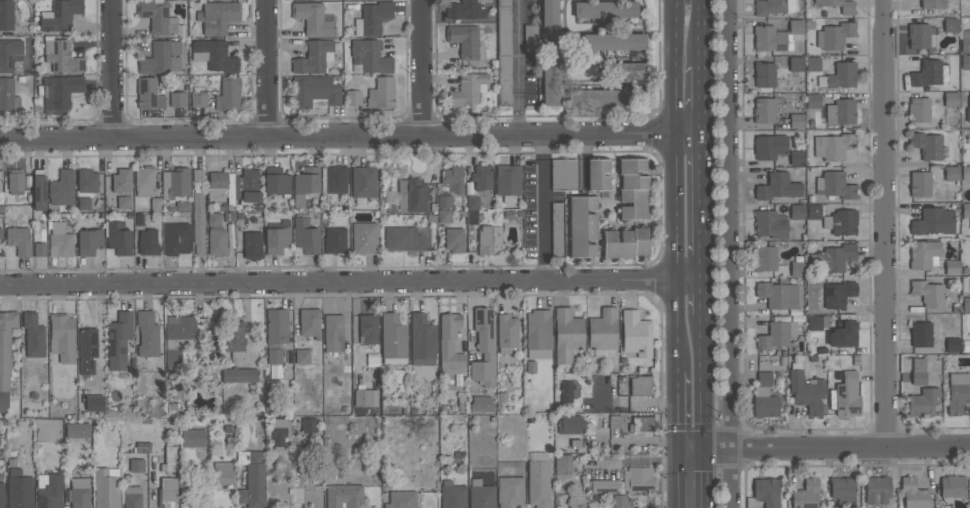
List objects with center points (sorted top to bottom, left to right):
building: (933, 4)
building: (839, 5)
building: (773, 6)
building: (466, 9)
building: (605, 9)
building: (6, 15)
building: (60, 15)
building: (158, 17)
building: (218, 17)
building: (372, 18)
building: (314, 19)
building: (951, 24)
building: (550, 25)
road: (702, 33)
building: (834, 35)
building: (778, 36)
building: (921, 36)
building: (530, 38)
building: (465, 40)
building: (614, 41)
building: (965, 41)
building: (504, 52)
building: (10, 54)
building: (61, 55)
building: (214, 55)
building: (369, 56)
building: (161, 57)
building: (314, 57)
building: (965, 61)
building: (796, 63)
building: (813, 63)
road: (421, 66)
road: (518, 66)
road: (265, 67)
road: (108, 68)
building: (630, 70)
building: (927, 73)
building: (764, 74)
building: (842, 74)
building: (550, 81)
building: (468, 89)
building: (60, 90)
building: (315, 92)
building: (148, 93)
building: (382, 93)
building: (8, 94)
building: (228, 94)
building: (352, 97)
building: (598, 97)
building: (178, 99)
building: (199, 99)
road: (702, 99)
building: (951, 99)
building: (813, 100)
building: (968, 109)
building: (764, 110)
building: (919, 110)
building: (841, 111)
building: (796, 121)
road: (350, 133)
building: (927, 145)
building: (769, 146)
building: (833, 146)
building: (797, 157)
building: (952, 173)
building: (965, 173)
building: (563, 174)
building: (598, 174)
building: (482, 177)
building: (334, 179)
building: (453, 179)
building: (122, 180)
building: (145, 180)
building: (15, 181)
building: (87, 181)
building: (276, 181)
building: (508, 182)
building: (175, 183)
building: (363, 183)
building: (305, 184)
building: (920, 184)
road: (678, 185)
building: (835, 185)
building: (0, 187)
building: (222, 187)
building: (247, 187)
building: (778, 187)
building: (62, 188)
building: (39, 189)
building: (632, 189)
building: (412, 194)
building: (444, 201)
building: (124, 202)
building: (84, 203)
building: (473, 203)
road: (703, 204)
road: (543, 205)
building: (183, 206)
building: (814, 211)
building: (797, 212)
building: (444, 216)
building: (472, 217)
building: (214, 219)
building: (933, 221)
building: (841, 222)
building: (198, 223)
building: (771, 224)
road: (881, 224)
building: (582, 227)
building: (557, 229)
building: (1, 235)
building: (277, 236)
building: (306, 236)
building: (364, 237)
building: (118, 238)
building: (176, 238)
building: (407, 238)
building: (19, 239)
building: (488, 239)
building: (60, 240)
building: (335, 240)
building: (454, 240)
building: (89, 241)
building: (217, 241)
building: (148, 242)
building: (625, 243)
building: (252, 245)
building: (40, 249)
road: (726, 254)
building: (924, 254)
building: (765, 258)
building: (832, 258)
building: (952, 267)
building: (797, 268)
road: (352, 280)
building: (928, 293)
building: (838, 294)
road: (704, 295)
building: (778, 295)
building: (817, 321)
building: (310, 322)
building: (276, 326)
building: (368, 328)
building: (603, 331)
building: (333, 332)
building: (147, 333)
building: (507, 333)
building: (233, 334)
building: (538, 334)
building: (567, 334)
building: (636, 334)
building: (777, 334)
building: (844, 334)
building: (921, 334)
building: (33, 335)
building: (62, 336)
building: (178, 339)
building: (393, 339)
building: (119, 340)
building: (422, 340)
building: (953, 344)
building: (450, 345)
building: (483, 347)
building: (87, 349)
building: (5, 354)
building: (274, 356)
building: (302, 356)
building: (918, 371)
building: (239, 375)
building: (764, 379)
building: (640, 386)
building: (807, 391)
building: (958, 393)
building: (566, 394)
building: (847, 394)
building: (365, 397)
building: (923, 401)
building: (764, 402)
building: (95, 403)
building: (481, 404)
road: (679, 411)
road: (704, 411)
building: (641, 423)
building: (570, 424)
building: (309, 426)
road: (805, 428)
building: (77, 430)
building: (279, 431)
building: (193, 438)
road: (638, 440)
road: (824, 448)
traffic signals: (704, 450)
traffic signals: (680, 451)
building: (170, 459)
building: (137, 465)
road: (837, 465)
building: (562, 466)
building: (224, 472)
building: (252, 479)
building: (538, 479)
building: (638, 479)
road: (679, 479)
building: (604, 486)
building: (952, 487)
building: (107, 488)
building: (19, 490)
building: (49, 490)
building: (878, 490)
building: (510, 491)
building: (843, 491)
building: (766, 492)
building: (80, 493)
building: (167, 493)
building: (914, 493)
building: (806, 494)
building: (2, 495)
building: (452, 495)
building: (481, 495)
building: (344, 496)
building: (133, 497)
building: (401, 499)
building: (620, 501)
building: (577, 502)

